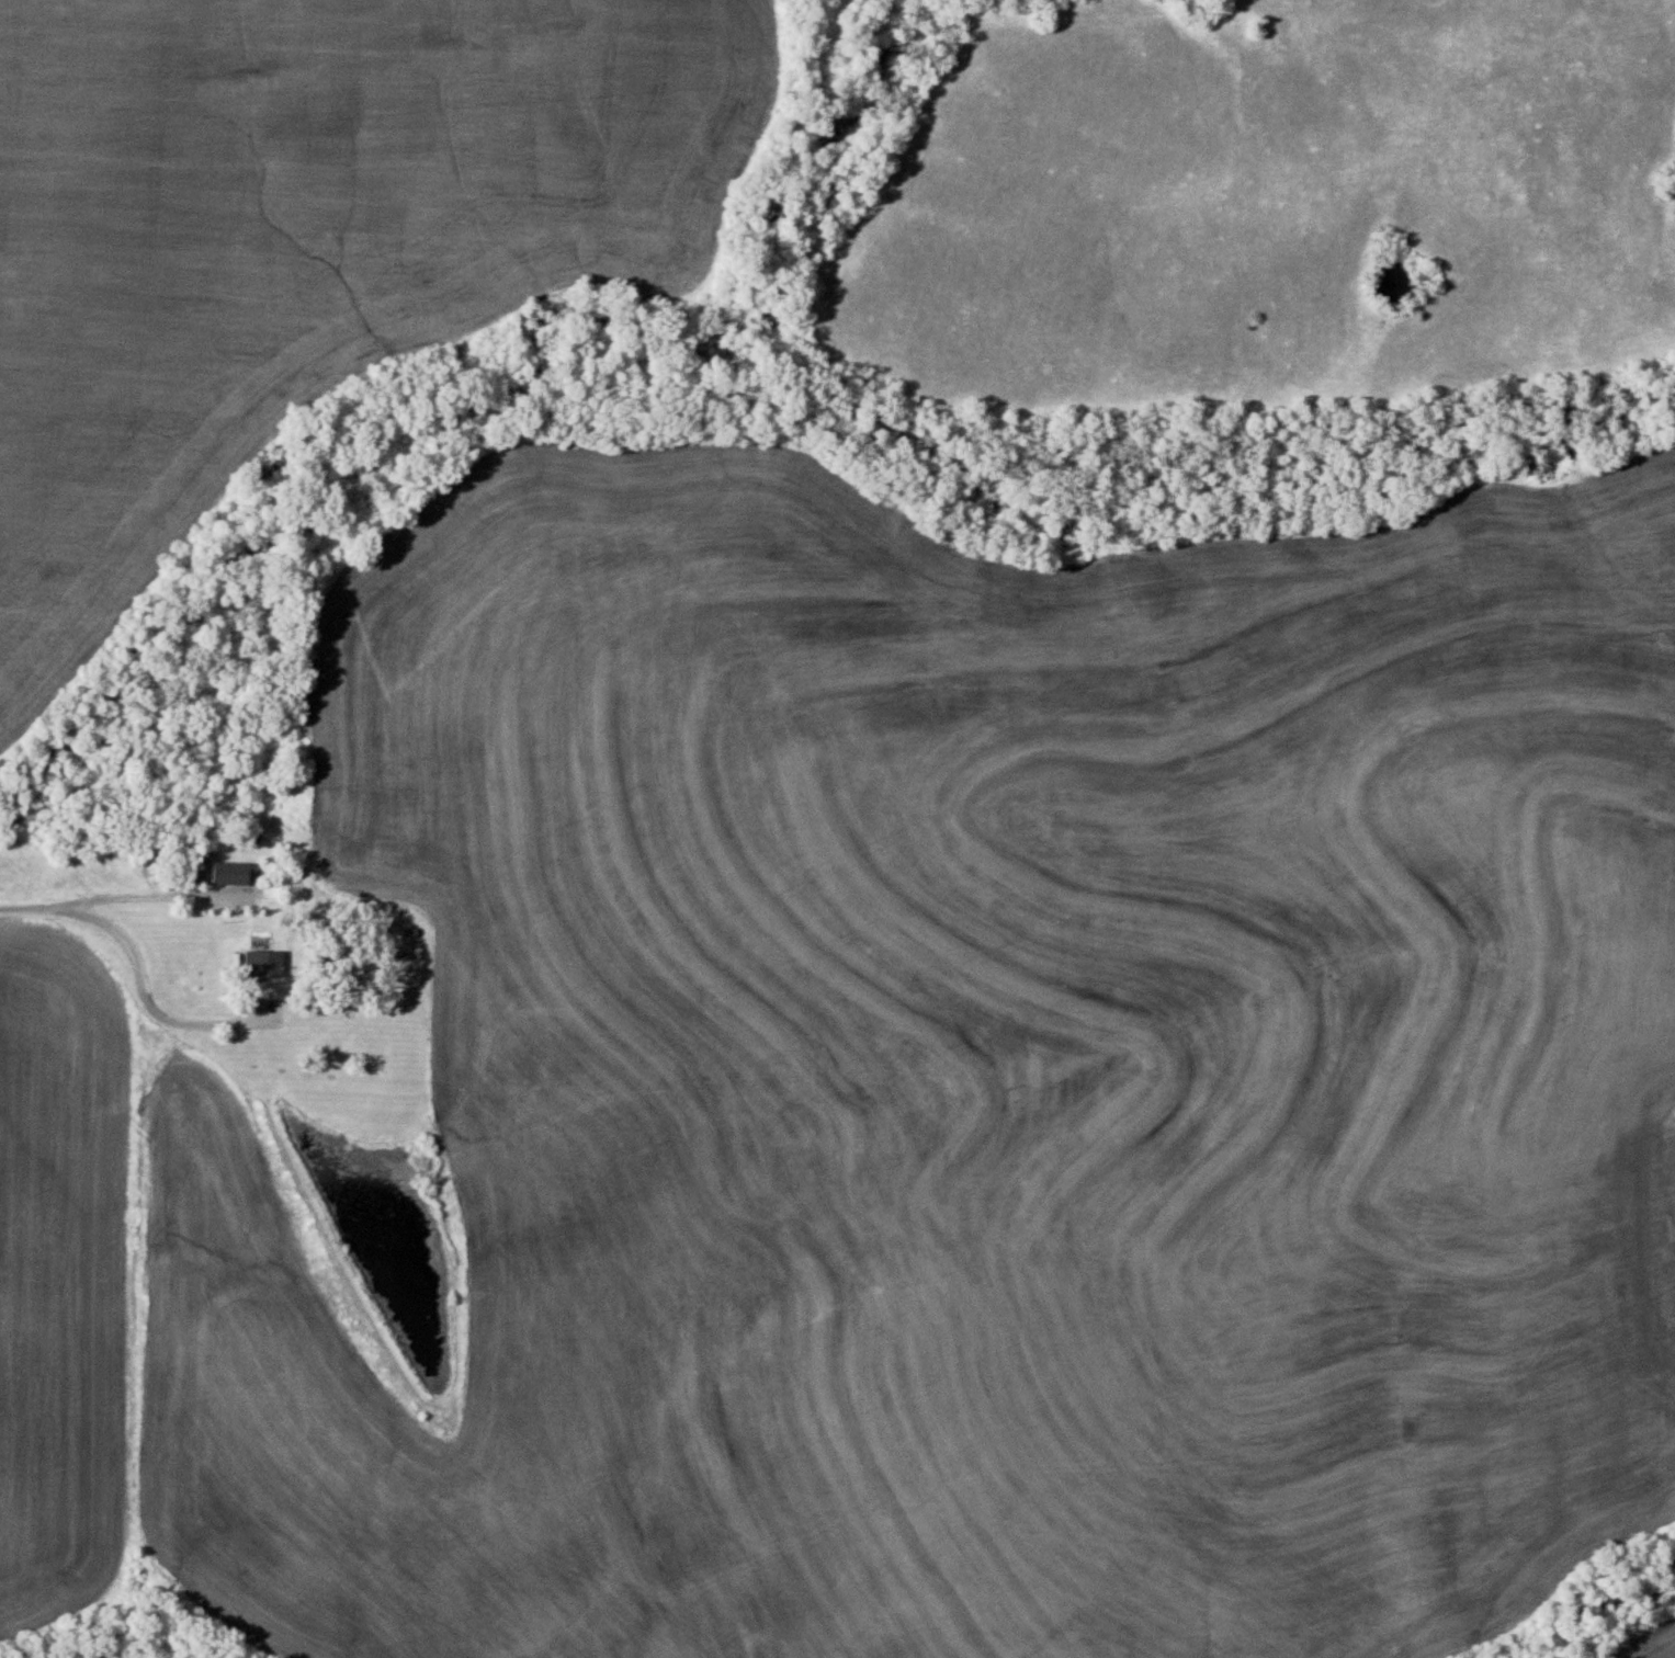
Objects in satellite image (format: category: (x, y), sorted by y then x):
building: (409, 929)
building: (262, 963)
road: (149, 990)

